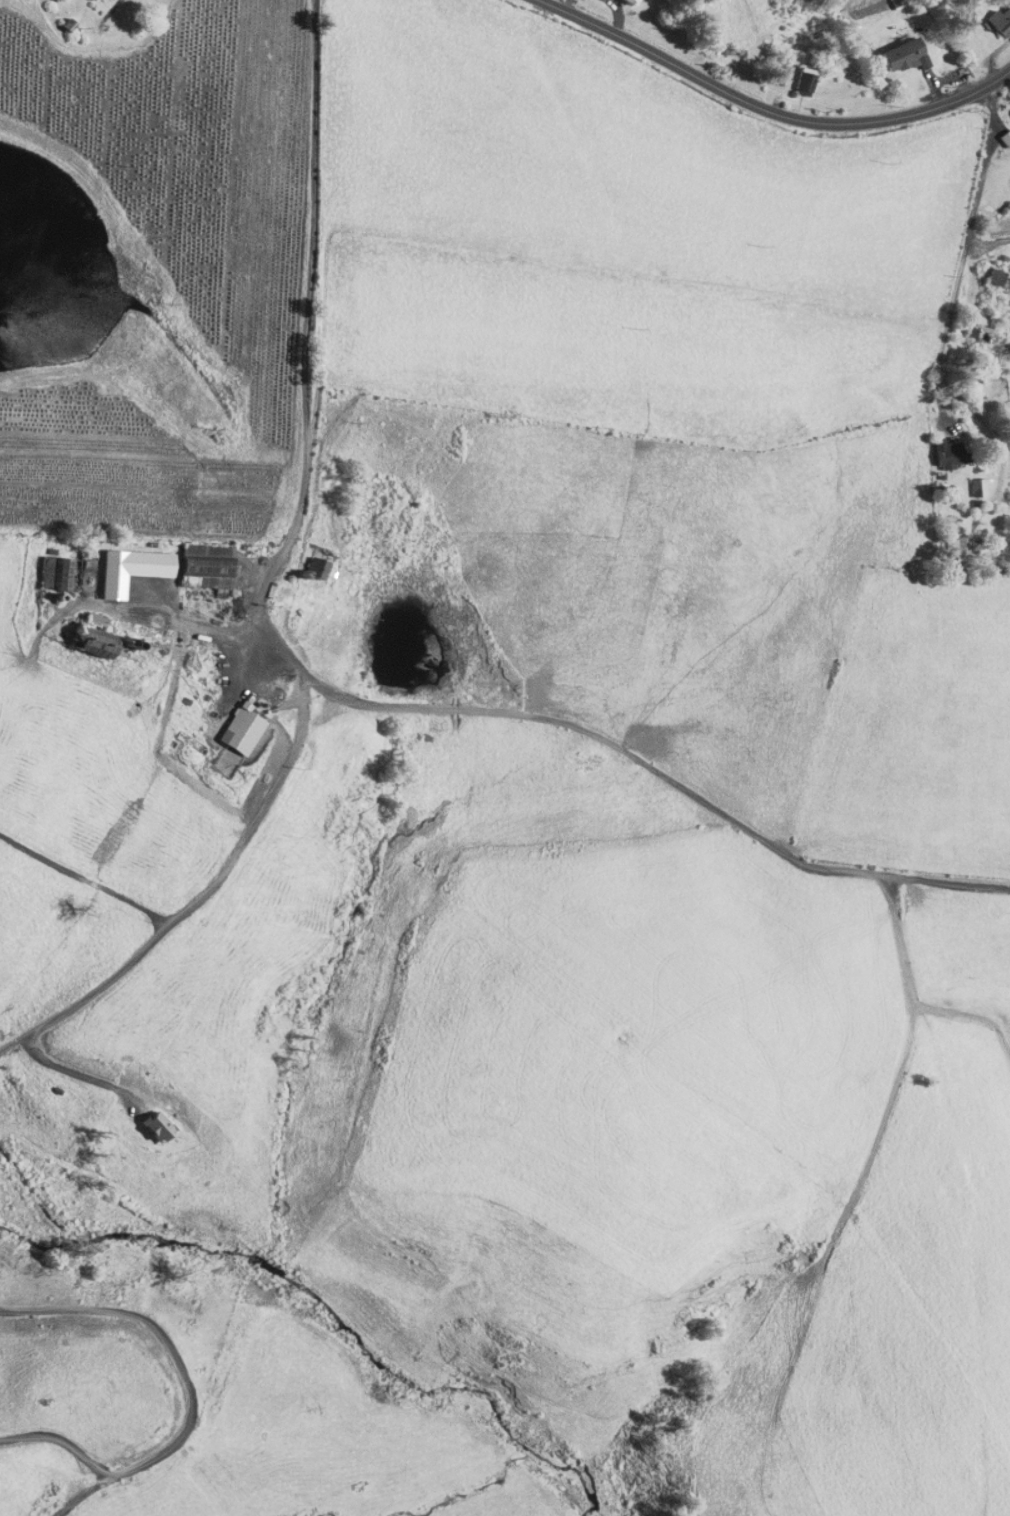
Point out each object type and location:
road: (111, 10)
road: (767, 111)
road: (988, 243)
road: (946, 327)
road: (306, 396)
building: (148, 1120)

